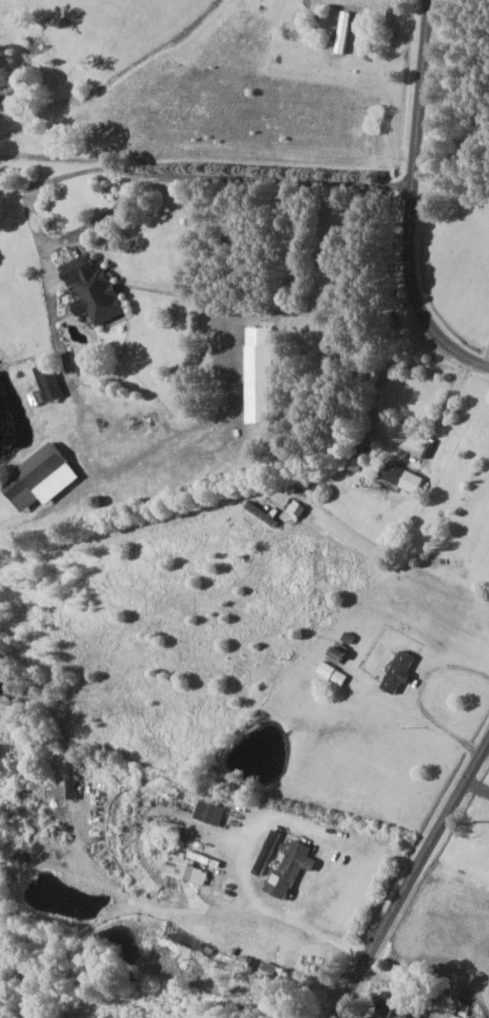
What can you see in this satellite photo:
building: (346, 31)
road: (145, 173)
road: (419, 196)
building: (97, 290)
building: (264, 374)
building: (52, 381)
road: (379, 392)
road: (448, 404)
building: (46, 475)
building: (405, 475)
building: (298, 508)
building: (264, 512)
building: (402, 670)
building: (334, 672)
road: (419, 697)
building: (74, 779)
road: (479, 786)
building: (212, 810)
building: (187, 867)
building: (294, 868)
road: (415, 883)
road: (283, 916)
building: (399, 1004)

